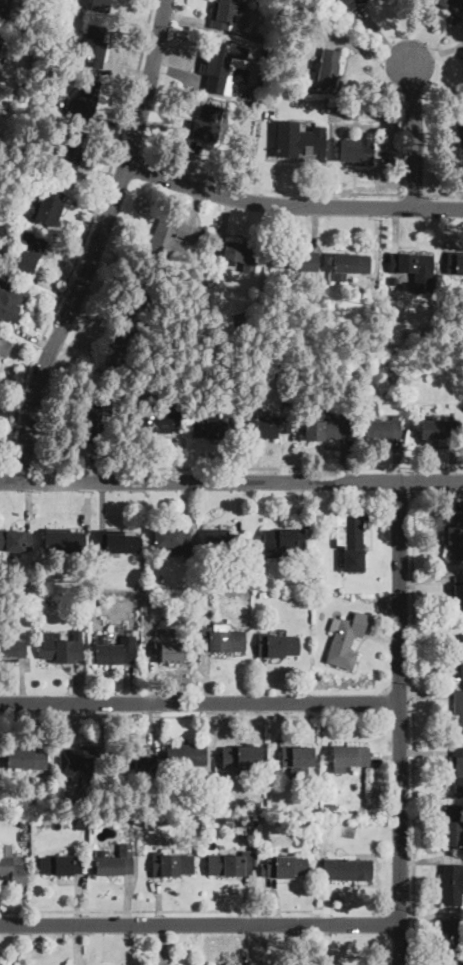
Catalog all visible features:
building: (351, 4)
building: (451, 4)
building: (99, 5)
building: (3, 8)
building: (226, 14)
building: (257, 39)
building: (0, 41)
building: (94, 45)
building: (223, 67)
building: (328, 68)
building: (86, 100)
building: (342, 105)
building: (210, 124)
road: (413, 134)
building: (460, 135)
building: (73, 148)
building: (299, 148)
road: (129, 150)
building: (357, 151)
building: (19, 171)
road: (269, 188)
road: (414, 193)
road: (444, 193)
road: (292, 206)
building: (46, 208)
road: (85, 235)
building: (173, 236)
road: (98, 242)
building: (29, 251)
building: (241, 252)
building: (298, 260)
building: (454, 263)
building: (349, 266)
building: (415, 270)
building: (394, 282)
building: (144, 287)
building: (10, 301)
building: (2, 345)
building: (119, 347)
building: (286, 398)
building: (91, 419)
building: (158, 419)
building: (377, 422)
building: (212, 427)
building: (269, 427)
building: (325, 429)
building: (439, 429)
road: (6, 467)
road: (24, 467)
road: (250, 467)
road: (415, 478)
road: (231, 481)
building: (455, 538)
building: (171, 539)
building: (222, 540)
building: (351, 540)
building: (16, 541)
building: (65, 542)
building: (281, 542)
building: (114, 544)
building: (319, 566)
building: (88, 574)
building: (319, 583)
building: (194, 586)
building: (458, 592)
building: (264, 595)
building: (201, 599)
building: (93, 601)
road: (381, 636)
building: (222, 640)
building: (346, 640)
building: (60, 646)
building: (277, 646)
building: (12, 650)
building: (110, 652)
building: (171, 652)
building: (461, 655)
road: (198, 701)
road: (195, 715)
road: (401, 715)
building: (458, 715)
road: (398, 723)
road: (414, 727)
building: (186, 756)
building: (132, 757)
building: (242, 758)
building: (349, 758)
building: (26, 759)
building: (297, 759)
building: (78, 761)
building: (458, 766)
building: (272, 774)
building: (331, 806)
building: (24, 818)
building: (147, 820)
building: (80, 822)
building: (454, 825)
building: (10, 863)
building: (177, 864)
building: (230, 864)
building: (60, 865)
building: (114, 866)
building: (284, 867)
building: (348, 870)
building: (452, 884)
road: (401, 909)
road: (193, 910)
road: (200, 923)
building: (450, 943)

